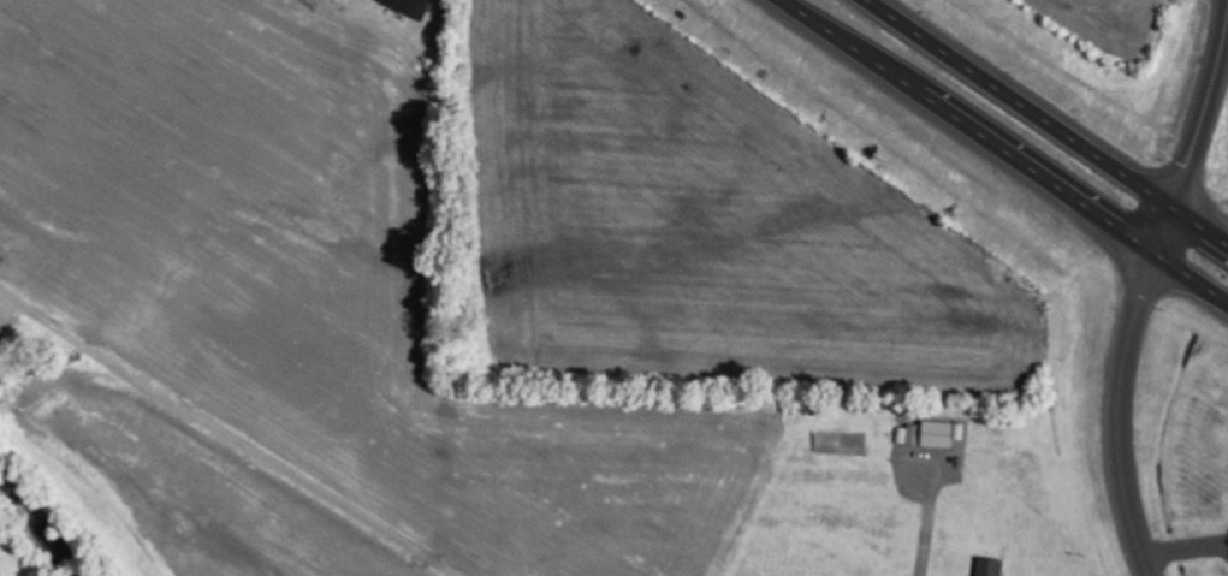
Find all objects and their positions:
building: (410, 7)
road: (1048, 121)
road: (1197, 135)
road: (1008, 148)
road: (1115, 410)
road: (227, 437)
building: (991, 568)

